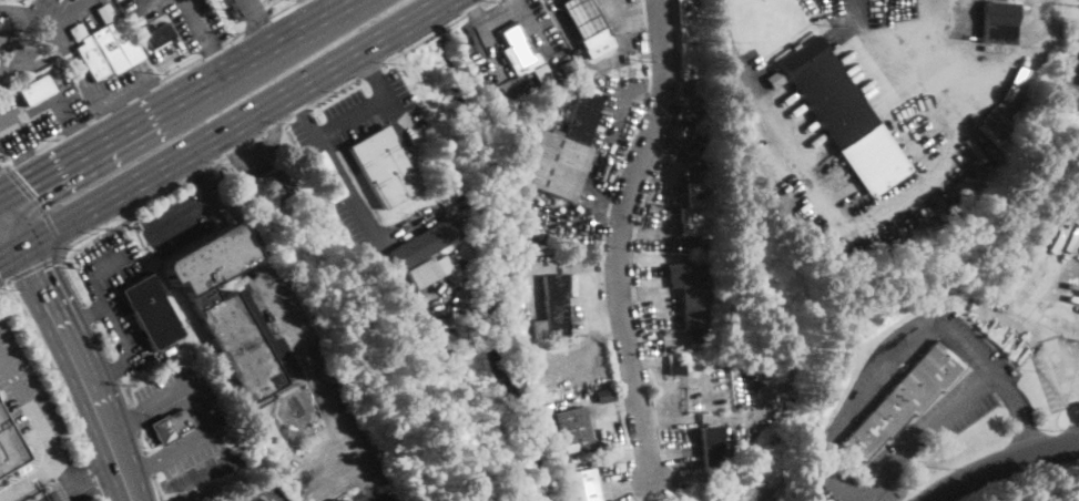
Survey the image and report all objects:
road: (330, 2)
road: (139, 3)
parking lot: (236, 3)
road: (283, 8)
road: (71, 11)
parking lot: (65, 12)
road: (28, 14)
road: (45, 14)
road: (499, 18)
road: (633, 18)
parking lot: (176, 19)
road: (907, 19)
road: (22, 20)
road: (256, 21)
building: (583, 21)
building: (3, 22)
road: (258, 22)
road: (561, 22)
building: (998, 22)
road: (197, 25)
road: (532, 27)
road: (435, 30)
road: (482, 33)
building: (159, 35)
road: (234, 37)
building: (6, 39)
building: (691, 39)
building: (105, 44)
building: (517, 48)
road: (211, 50)
road: (963, 52)
road: (217, 60)
road: (33, 63)
parking lot: (18, 64)
road: (181, 68)
road: (369, 68)
parking lot: (1070, 78)
road: (82, 80)
parking lot: (126, 83)
road: (1075, 84)
building: (35, 90)
road: (157, 90)
road: (332, 90)
road: (59, 91)
road: (126, 91)
road: (754, 92)
road: (126, 98)
road: (169, 99)
road: (134, 102)
road: (16, 111)
parking lot: (39, 113)
road: (349, 113)
building: (842, 115)
road: (397, 116)
road: (955, 116)
road: (91, 119)
road: (231, 123)
road: (32, 125)
road: (75, 127)
road: (75, 127)
road: (257, 135)
road: (49, 142)
building: (973, 149)
building: (559, 151)
road: (24, 156)
road: (20, 160)
building: (384, 166)
road: (3, 167)
road: (199, 171)
building: (323, 176)
traffic signals: (29, 182)
building: (278, 184)
road: (38, 205)
road: (210, 205)
building: (452, 207)
road: (359, 209)
building: (692, 209)
parking lot: (176, 221)
road: (10, 224)
road: (100, 226)
road: (620, 236)
building: (424, 244)
building: (1025, 248)
road: (10, 249)
road: (35, 267)
building: (428, 270)
traffic signals: (37, 275)
road: (1, 280)
road: (4, 282)
building: (692, 293)
building: (673, 301)
building: (554, 306)
parking lot: (109, 308)
building: (225, 309)
building: (151, 311)
road: (88, 313)
road: (109, 316)
road: (84, 317)
building: (520, 336)
building: (703, 338)
road: (103, 340)
building: (559, 342)
road: (297, 346)
road: (77, 351)
building: (675, 367)
road: (115, 369)
road: (55, 374)
road: (862, 378)
parking lot: (315, 384)
road: (1069, 384)
road: (124, 392)
parking lot: (24, 393)
building: (604, 395)
parking lot: (180, 397)
building: (903, 398)
road: (956, 408)
road: (28, 409)
road: (203, 409)
road: (1021, 412)
road: (133, 418)
road: (125, 419)
building: (171, 426)
building: (572, 429)
building: (296, 430)
road: (142, 441)
building: (597, 444)
building: (9, 446)
building: (711, 447)
parking lot: (190, 449)
road: (150, 463)
road: (142, 466)
road: (1002, 468)
road: (64, 474)
road: (28, 477)
road: (1012, 477)
road: (85, 479)
road: (128, 482)
road: (845, 482)
building: (579, 485)
road: (157, 488)
road: (258, 489)
parking lot: (238, 494)
building: (339, 500)

